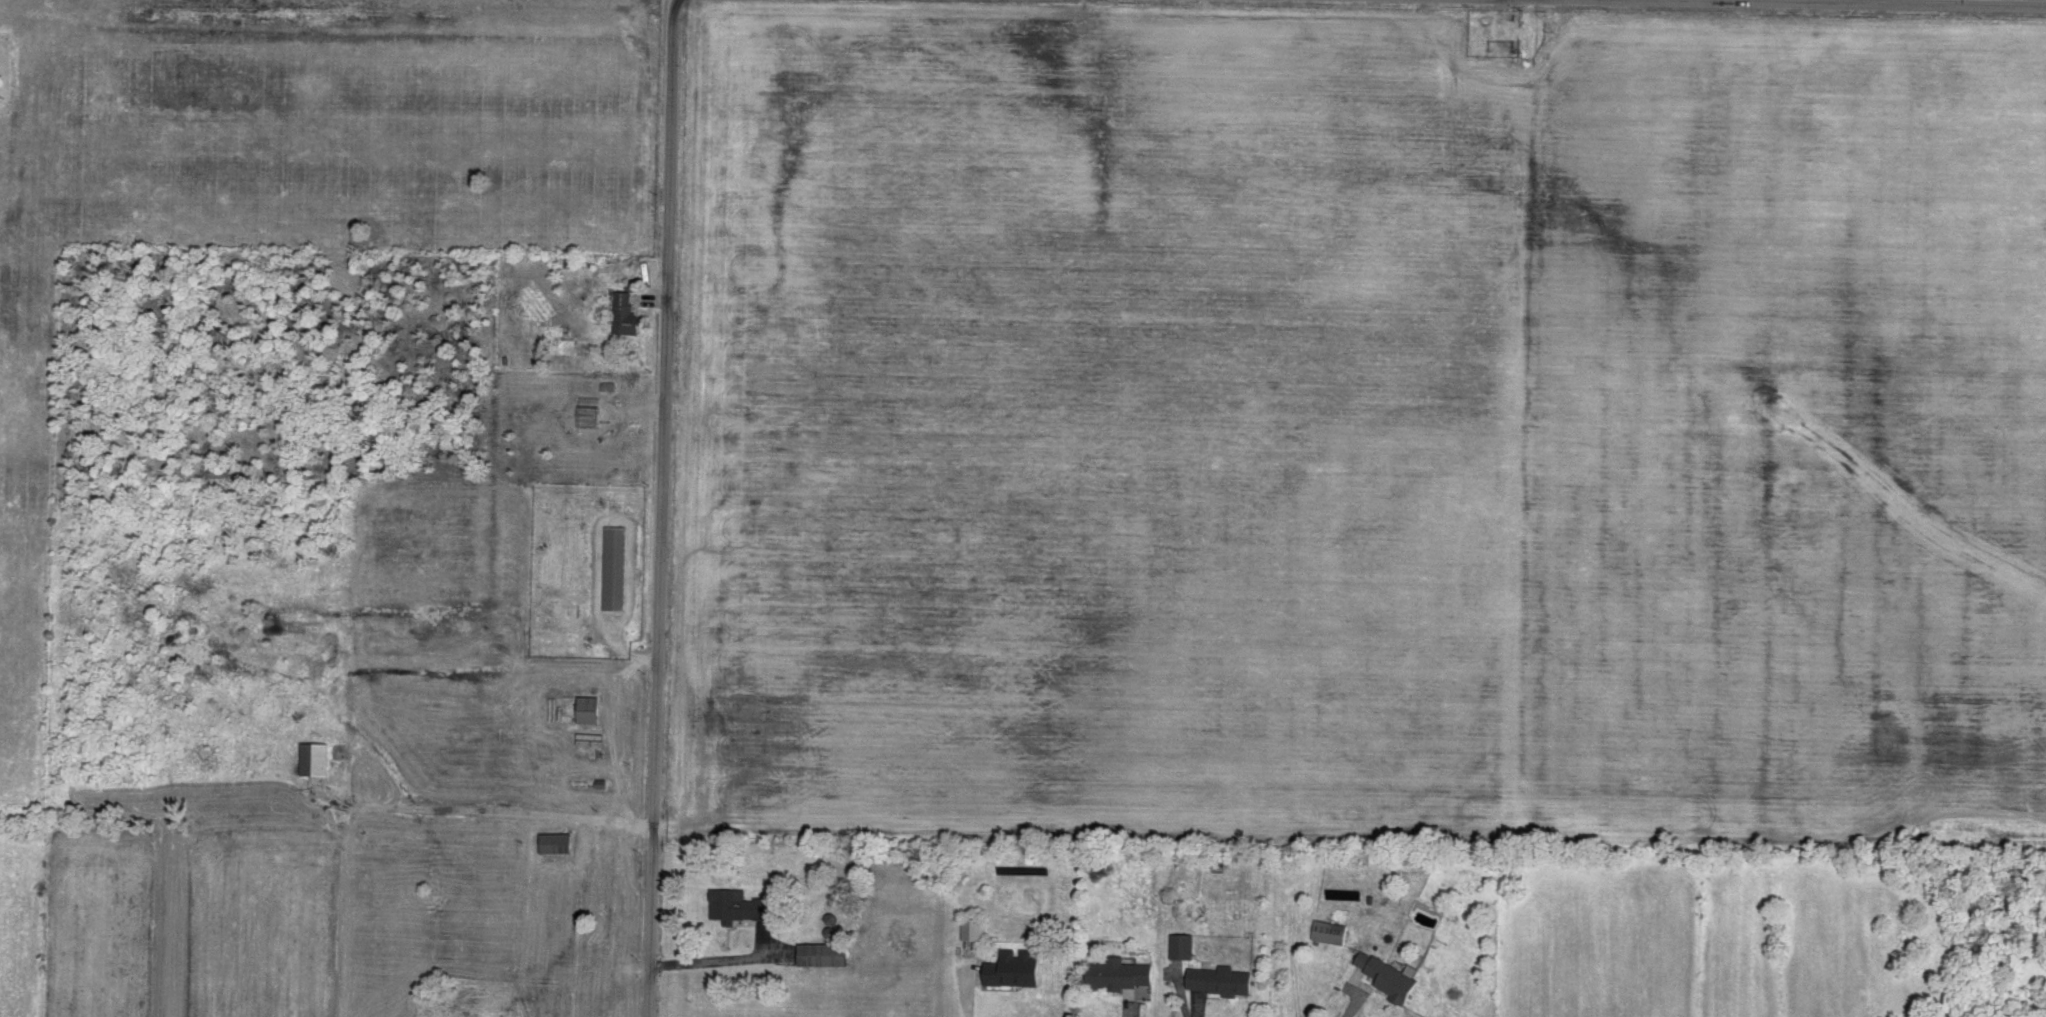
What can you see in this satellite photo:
road: (1520, 1)
road: (1717, 4)
building: (628, 312)
road: (659, 508)
road: (595, 539)
building: (617, 566)
building: (593, 708)
building: (317, 757)
building: (557, 841)
building: (742, 903)
building: (975, 926)
building: (1331, 930)
building: (1184, 943)
building: (825, 952)
building: (1017, 966)
building: (1123, 971)
building: (1392, 974)
building: (1223, 978)
road: (1355, 1010)

